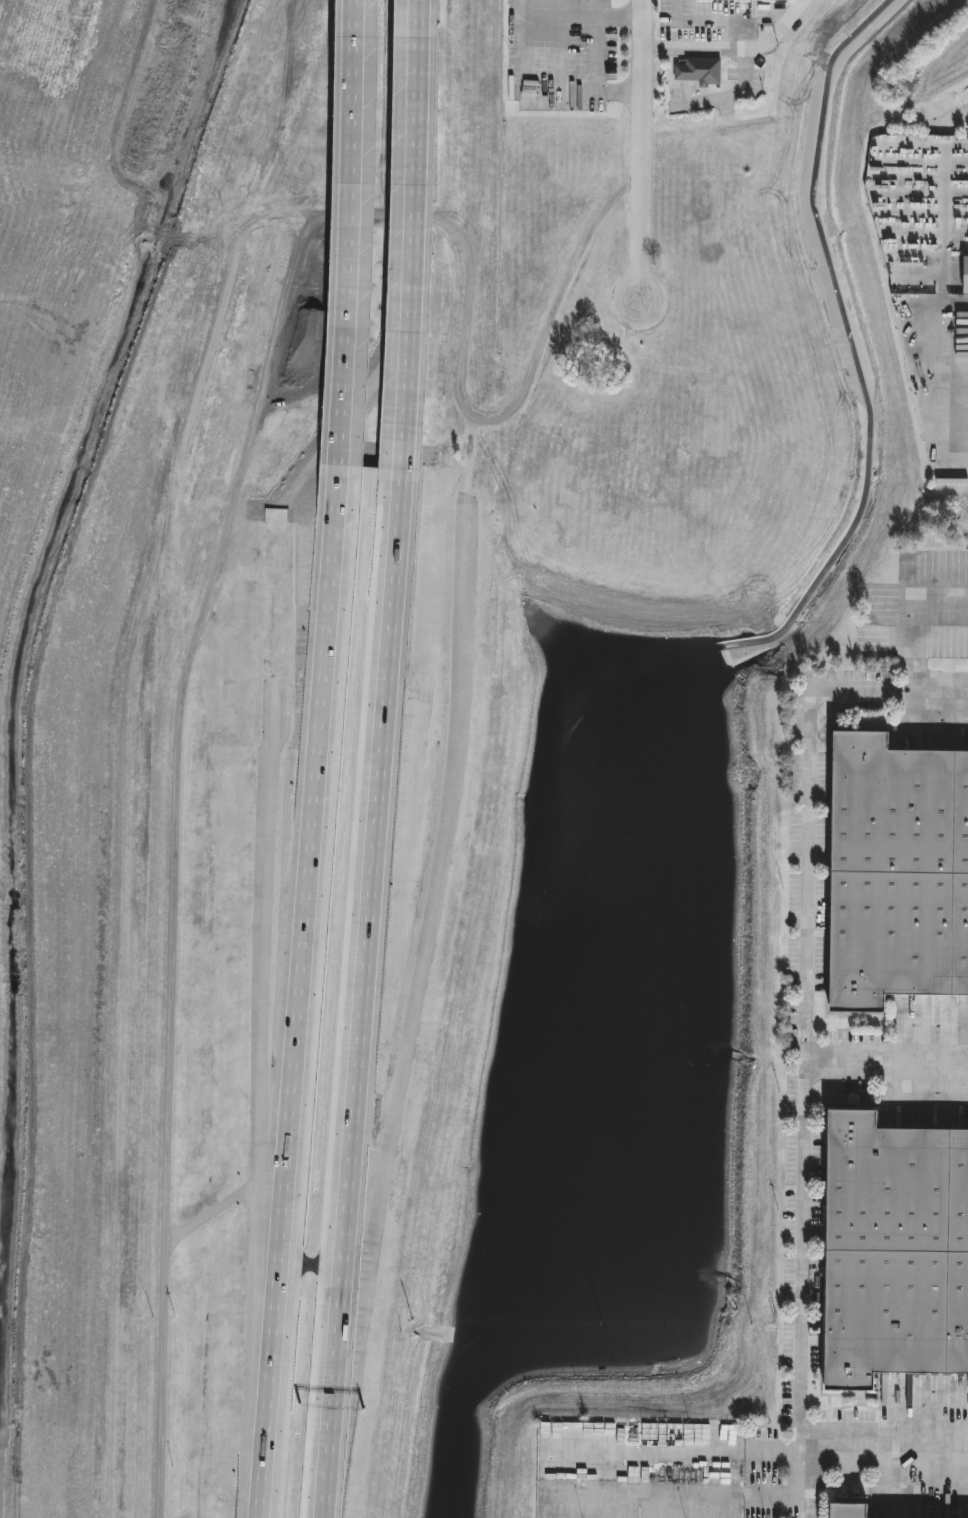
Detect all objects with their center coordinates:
building: (753, 0)
road: (573, 16)
road: (713, 21)
road: (733, 54)
building: (701, 72)
road: (547, 91)
road: (952, 119)
road: (639, 151)
road: (943, 208)
road: (368, 217)
road: (357, 232)
road: (412, 234)
road: (942, 383)
building: (256, 515)
building: (301, 515)
road: (229, 517)
building: (464, 583)
road: (808, 801)
building: (899, 875)
road: (436, 886)
park: (138, 927)
road: (299, 991)
road: (363, 993)
road: (169, 1098)
road: (802, 1170)
road: (227, 1204)
building: (896, 1252)
building: (690, 1434)
building: (762, 1437)
road: (852, 1439)
building: (692, 1473)
building: (852, 1510)

